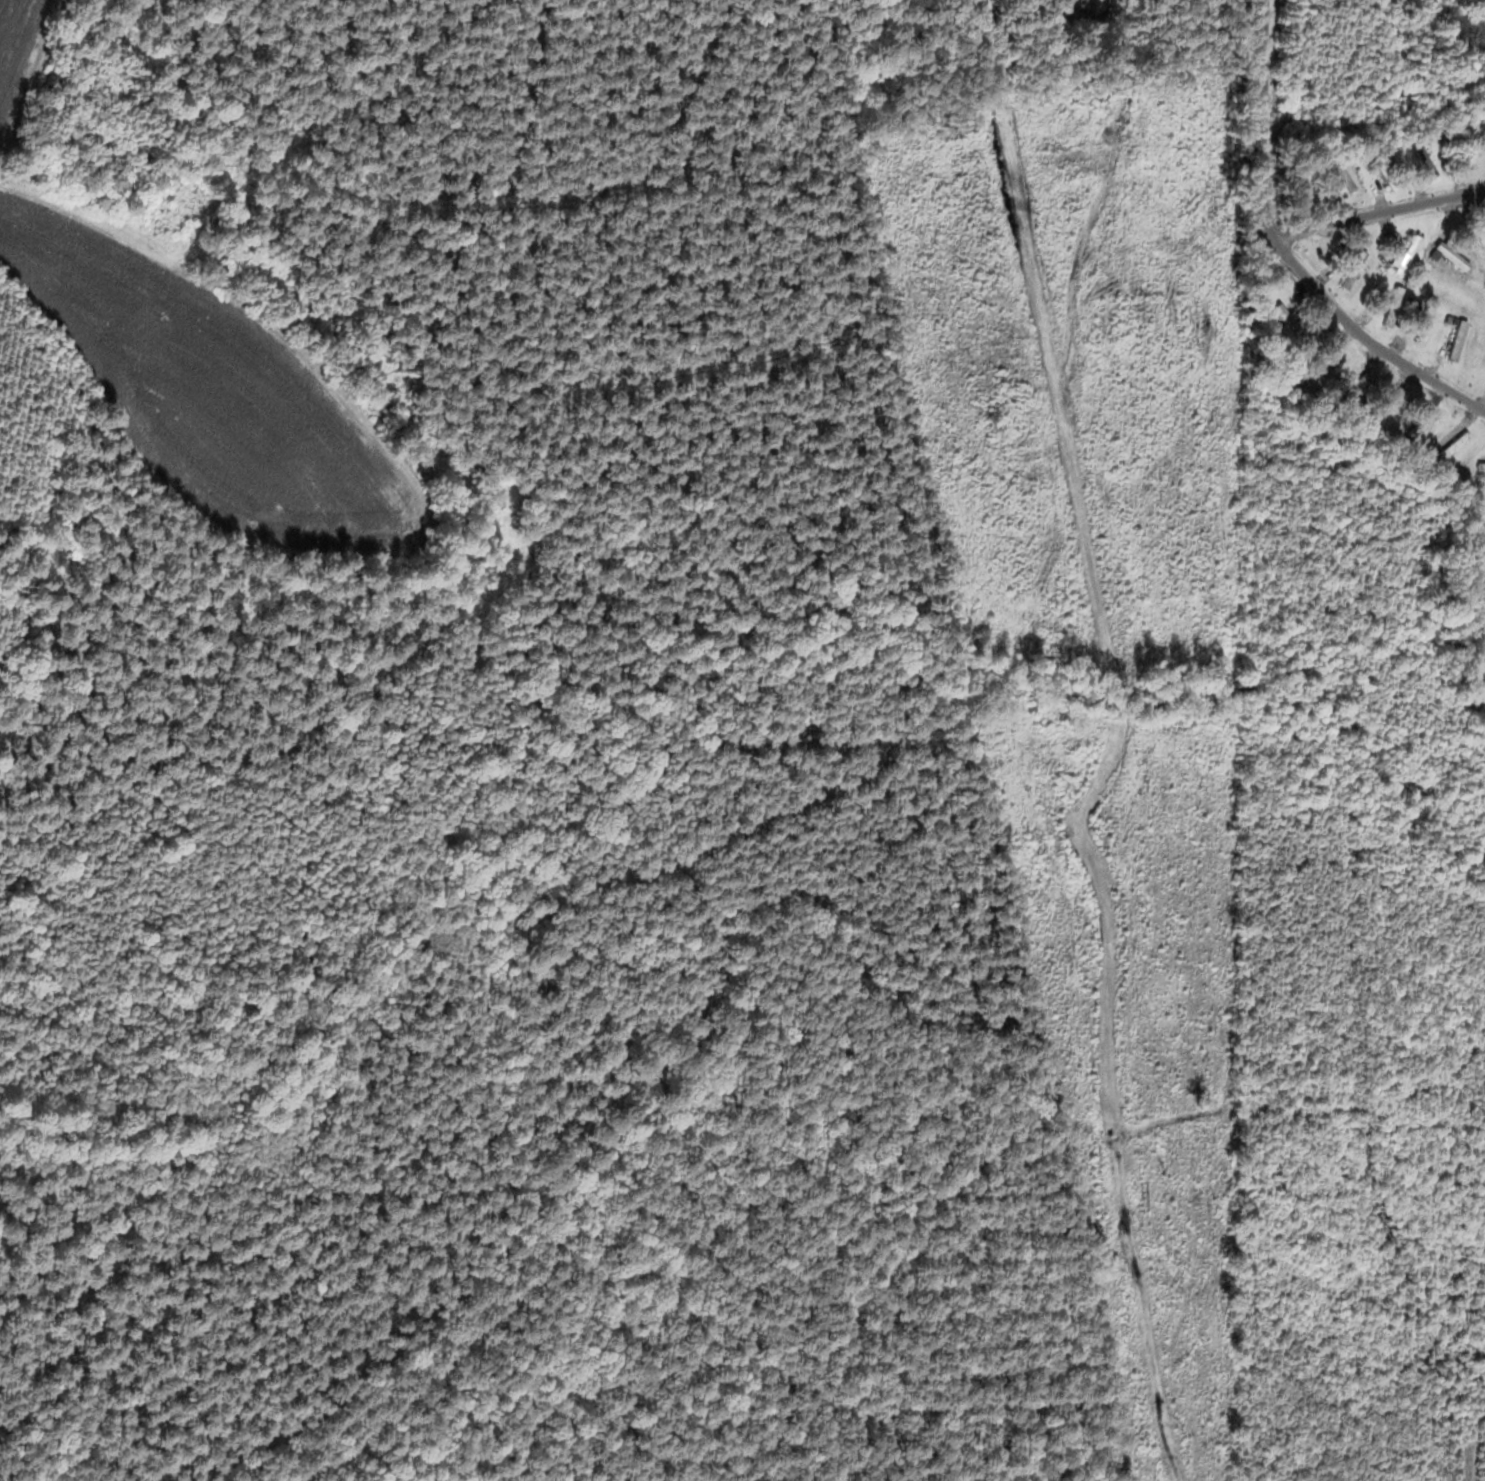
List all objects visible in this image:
road: (1006, 32)
building: (1421, 158)
building: (1382, 170)
road: (1375, 212)
building: (1405, 252)
building: (1449, 253)
road: (1279, 254)
building: (1350, 267)
building: (1389, 305)
building: (1286, 317)
building: (1422, 320)
building: (1454, 339)
building: (1382, 405)
building: (1417, 425)
building: (1451, 443)
building: (1479, 465)
building: (1484, 498)

